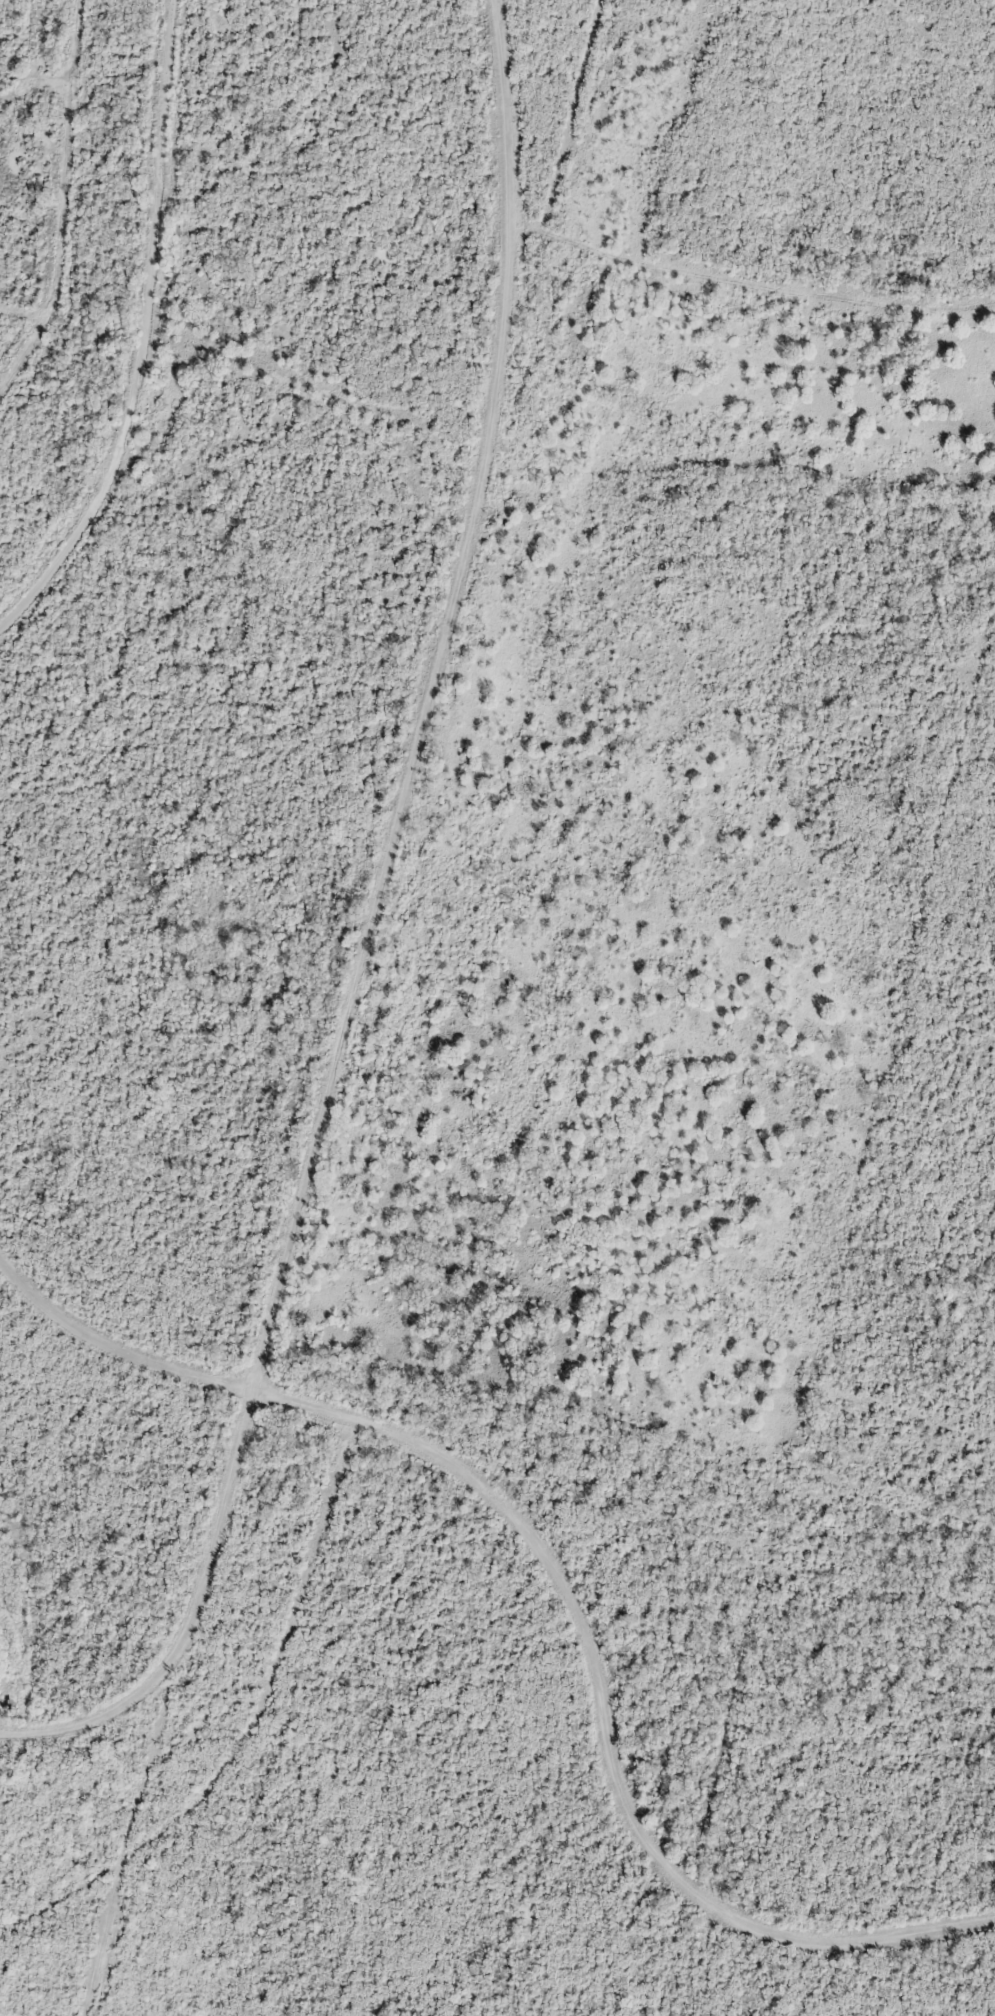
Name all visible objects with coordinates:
road: (198, 337)
road: (423, 700)
road: (113, 1350)
road: (188, 1618)
road: (600, 1717)

